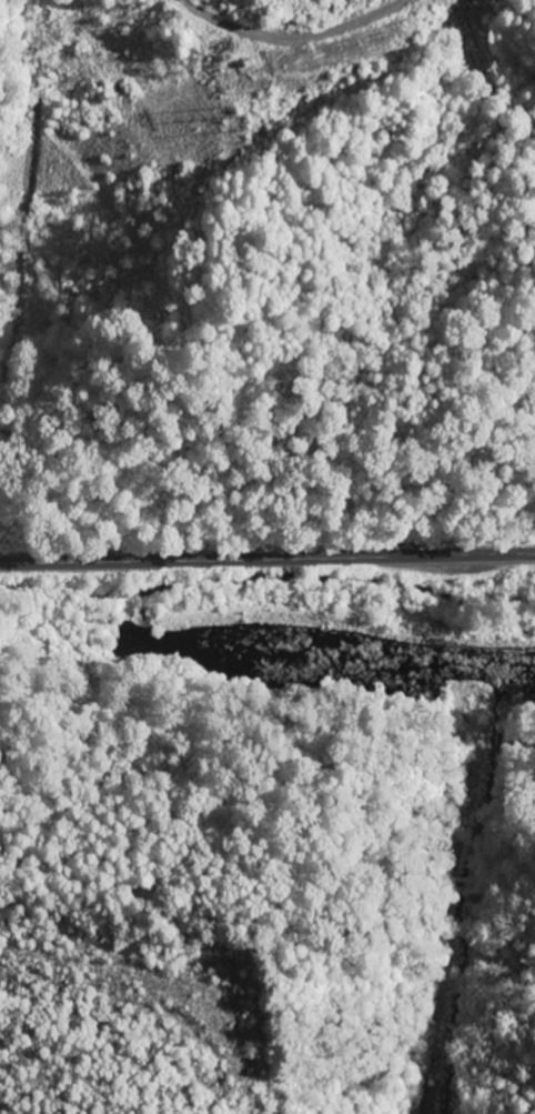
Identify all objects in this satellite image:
road: (267, 556)

